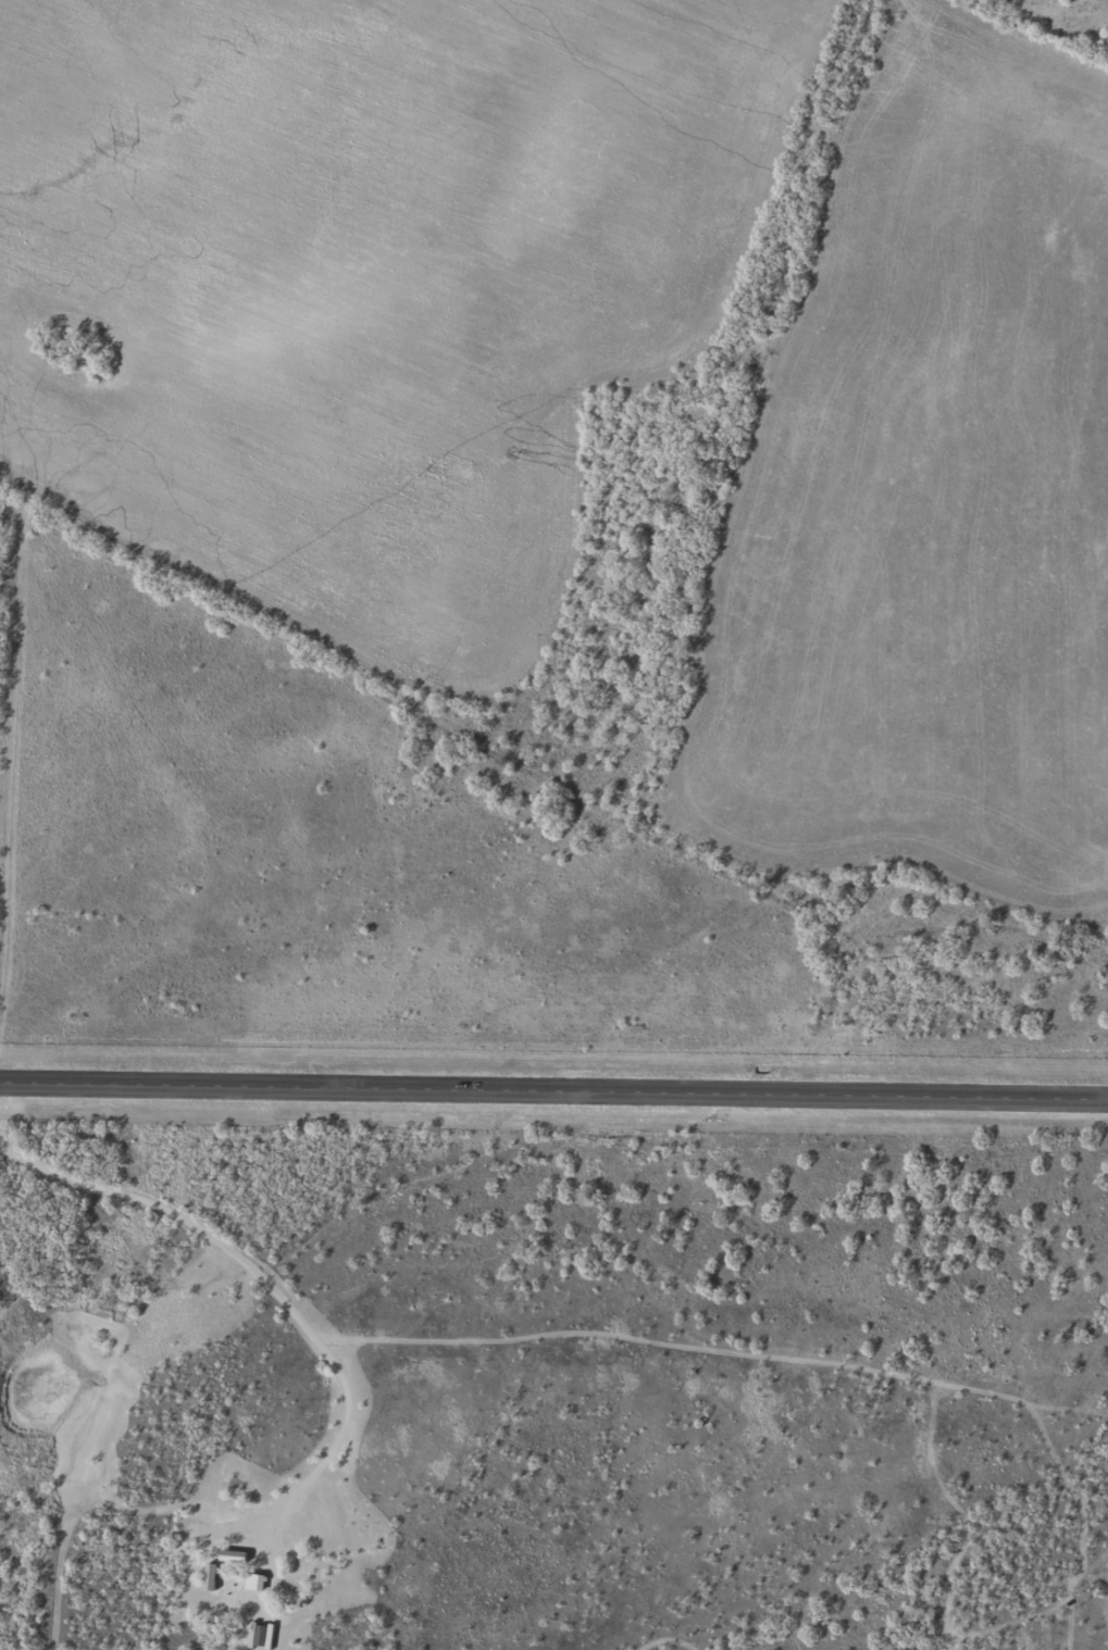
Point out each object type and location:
road: (553, 1092)

